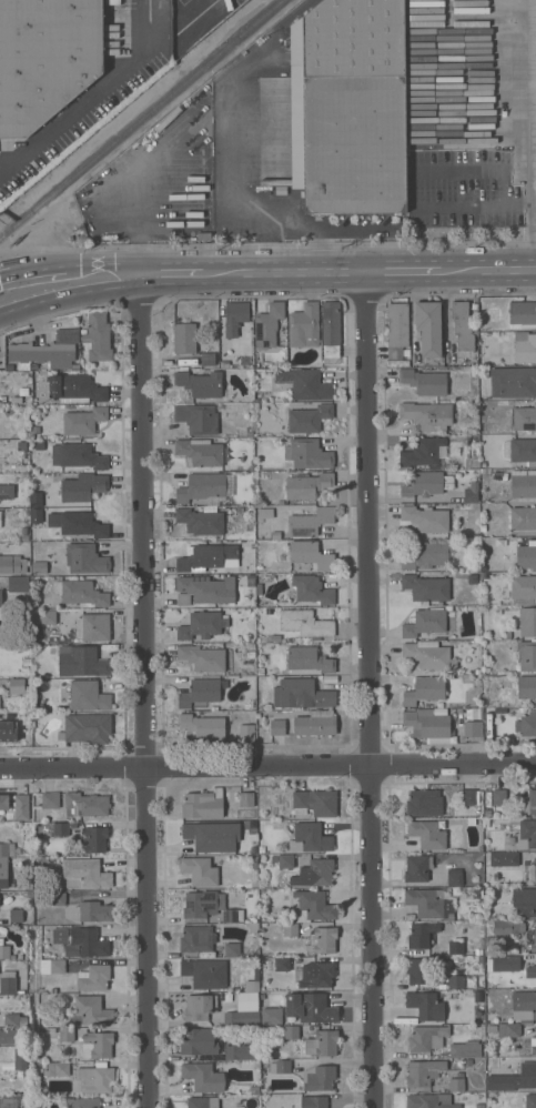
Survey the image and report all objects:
building: (113, 2)
building: (48, 58)
road: (98, 95)
building: (358, 107)
railway: (140, 118)
road: (533, 133)
road: (102, 264)
road: (408, 266)
road: (495, 266)
road: (289, 268)
road: (38, 269)
road: (178, 269)
road: (7, 273)
road: (70, 294)
building: (522, 314)
building: (235, 316)
building: (270, 325)
building: (304, 325)
building: (462, 325)
building: (428, 326)
building: (331, 329)
building: (397, 330)
building: (65, 335)
building: (98, 336)
building: (184, 338)
building: (522, 347)
park: (1, 352)
building: (44, 354)
building: (208, 359)
building: (250, 362)
building: (424, 382)
building: (513, 382)
building: (200, 383)
building: (304, 383)
building: (80, 389)
building: (257, 396)
building: (8, 411)
building: (427, 415)
building: (307, 417)
building: (524, 417)
building: (198, 419)
building: (83, 421)
building: (36, 430)
building: (250, 431)
building: (461, 437)
building: (39, 445)
building: (523, 451)
building: (201, 452)
building: (307, 453)
building: (423, 453)
building: (78, 455)
building: (427, 483)
building: (523, 483)
building: (307, 485)
building: (81, 486)
building: (205, 487)
building: (6, 491)
building: (472, 492)
building: (464, 506)
building: (240, 508)
building: (264, 513)
building: (0, 518)
building: (426, 518)
building: (201, 521)
building: (523, 521)
building: (310, 522)
building: (82, 524)
building: (249, 526)
building: (483, 527)
building: (274, 535)
building: (24, 537)
building: (311, 554)
building: (425, 555)
building: (526, 555)
building: (208, 557)
building: (84, 558)
building: (12, 564)
building: (39, 567)
building: (483, 575)
building: (251, 577)
building: (18, 584)
building: (524, 586)
building: (426, 587)
building: (259, 588)
building: (204, 590)
building: (312, 590)
building: (81, 593)
building: (0, 598)
building: (269, 611)
building: (48, 616)
building: (425, 622)
building: (527, 622)
building: (305, 623)
building: (202, 625)
building: (92, 627)
building: (274, 637)
building: (251, 646)
building: (251, 654)
building: (428, 655)
building: (527, 655)
building: (202, 657)
building: (309, 661)
building: (27, 662)
building: (82, 662)
building: (261, 671)
building: (18, 686)
building: (526, 686)
road: (368, 687)
road: (146, 688)
building: (425, 689)
building: (201, 692)
building: (302, 694)
building: (88, 695)
building: (487, 712)
building: (474, 714)
building: (315, 723)
building: (527, 724)
building: (202, 725)
building: (428, 725)
building: (277, 726)
building: (85, 727)
building: (473, 728)
building: (8, 731)
building: (246, 732)
road: (267, 766)
building: (498, 796)
building: (468, 797)
building: (246, 798)
building: (50, 799)
building: (4, 802)
building: (315, 802)
building: (532, 802)
building: (424, 803)
building: (85, 804)
building: (203, 804)
building: (21, 806)
building: (487, 813)
building: (486, 823)
building: (60, 828)
building: (427, 834)
building: (526, 834)
building: (212, 835)
building: (95, 838)
building: (310, 838)
building: (7, 849)
building: (262, 849)
building: (504, 858)
building: (285, 862)
building: (254, 863)
building: (416, 868)
building: (535, 869)
building: (199, 870)
building: (3, 873)
building: (314, 873)
building: (85, 874)
building: (454, 877)
building: (58, 898)
building: (525, 901)
building: (431, 903)
building: (209, 906)
building: (312, 907)
building: (94, 910)
building: (16, 915)
building: (252, 924)
building: (506, 927)
building: (289, 929)
building: (60, 935)
building: (421, 935)
building: (196, 938)
building: (532, 938)
building: (325, 939)
building: (87, 943)
building: (455, 947)
building: (232, 949)
building: (4, 950)
building: (478, 951)
building: (263, 961)
building: (512, 961)
building: (282, 964)
building: (52, 966)
building: (418, 970)
building: (530, 971)
building: (205, 973)
building: (317, 975)
building: (93, 978)
building: (8, 981)
building: (455, 981)
building: (252, 983)
building: (246, 1001)
building: (530, 1005)
building: (425, 1006)
building: (200, 1007)
building: (310, 1007)
building: (92, 1009)
building: (271, 1015)
building: (242, 1018)
building: (477, 1018)
building: (14, 1020)
building: (491, 1028)
building: (508, 1030)
building: (291, 1031)
building: (65, 1035)
building: (9, 1036)
building: (426, 1037)
building: (198, 1041)
building: (322, 1042)
building: (97, 1045)
building: (533, 1045)
building: (465, 1049)
building: (64, 1050)
building: (240, 1051)
building: (19, 1058)
building: (468, 1060)
building: (255, 1064)
building: (281, 1066)
building: (57, 1069)
building: (423, 1071)
building: (459, 1074)
building: (203, 1076)
building: (318, 1077)
building: (500, 1077)
building: (93, 1079)
building: (456, 1084)
building: (253, 1089)
building: (530, 1100)
building: (313, 1101)
building: (429, 1101)
building: (8, 1102)
building: (84, 1102)
building: (202, 1102)
building: (479, 1106)

